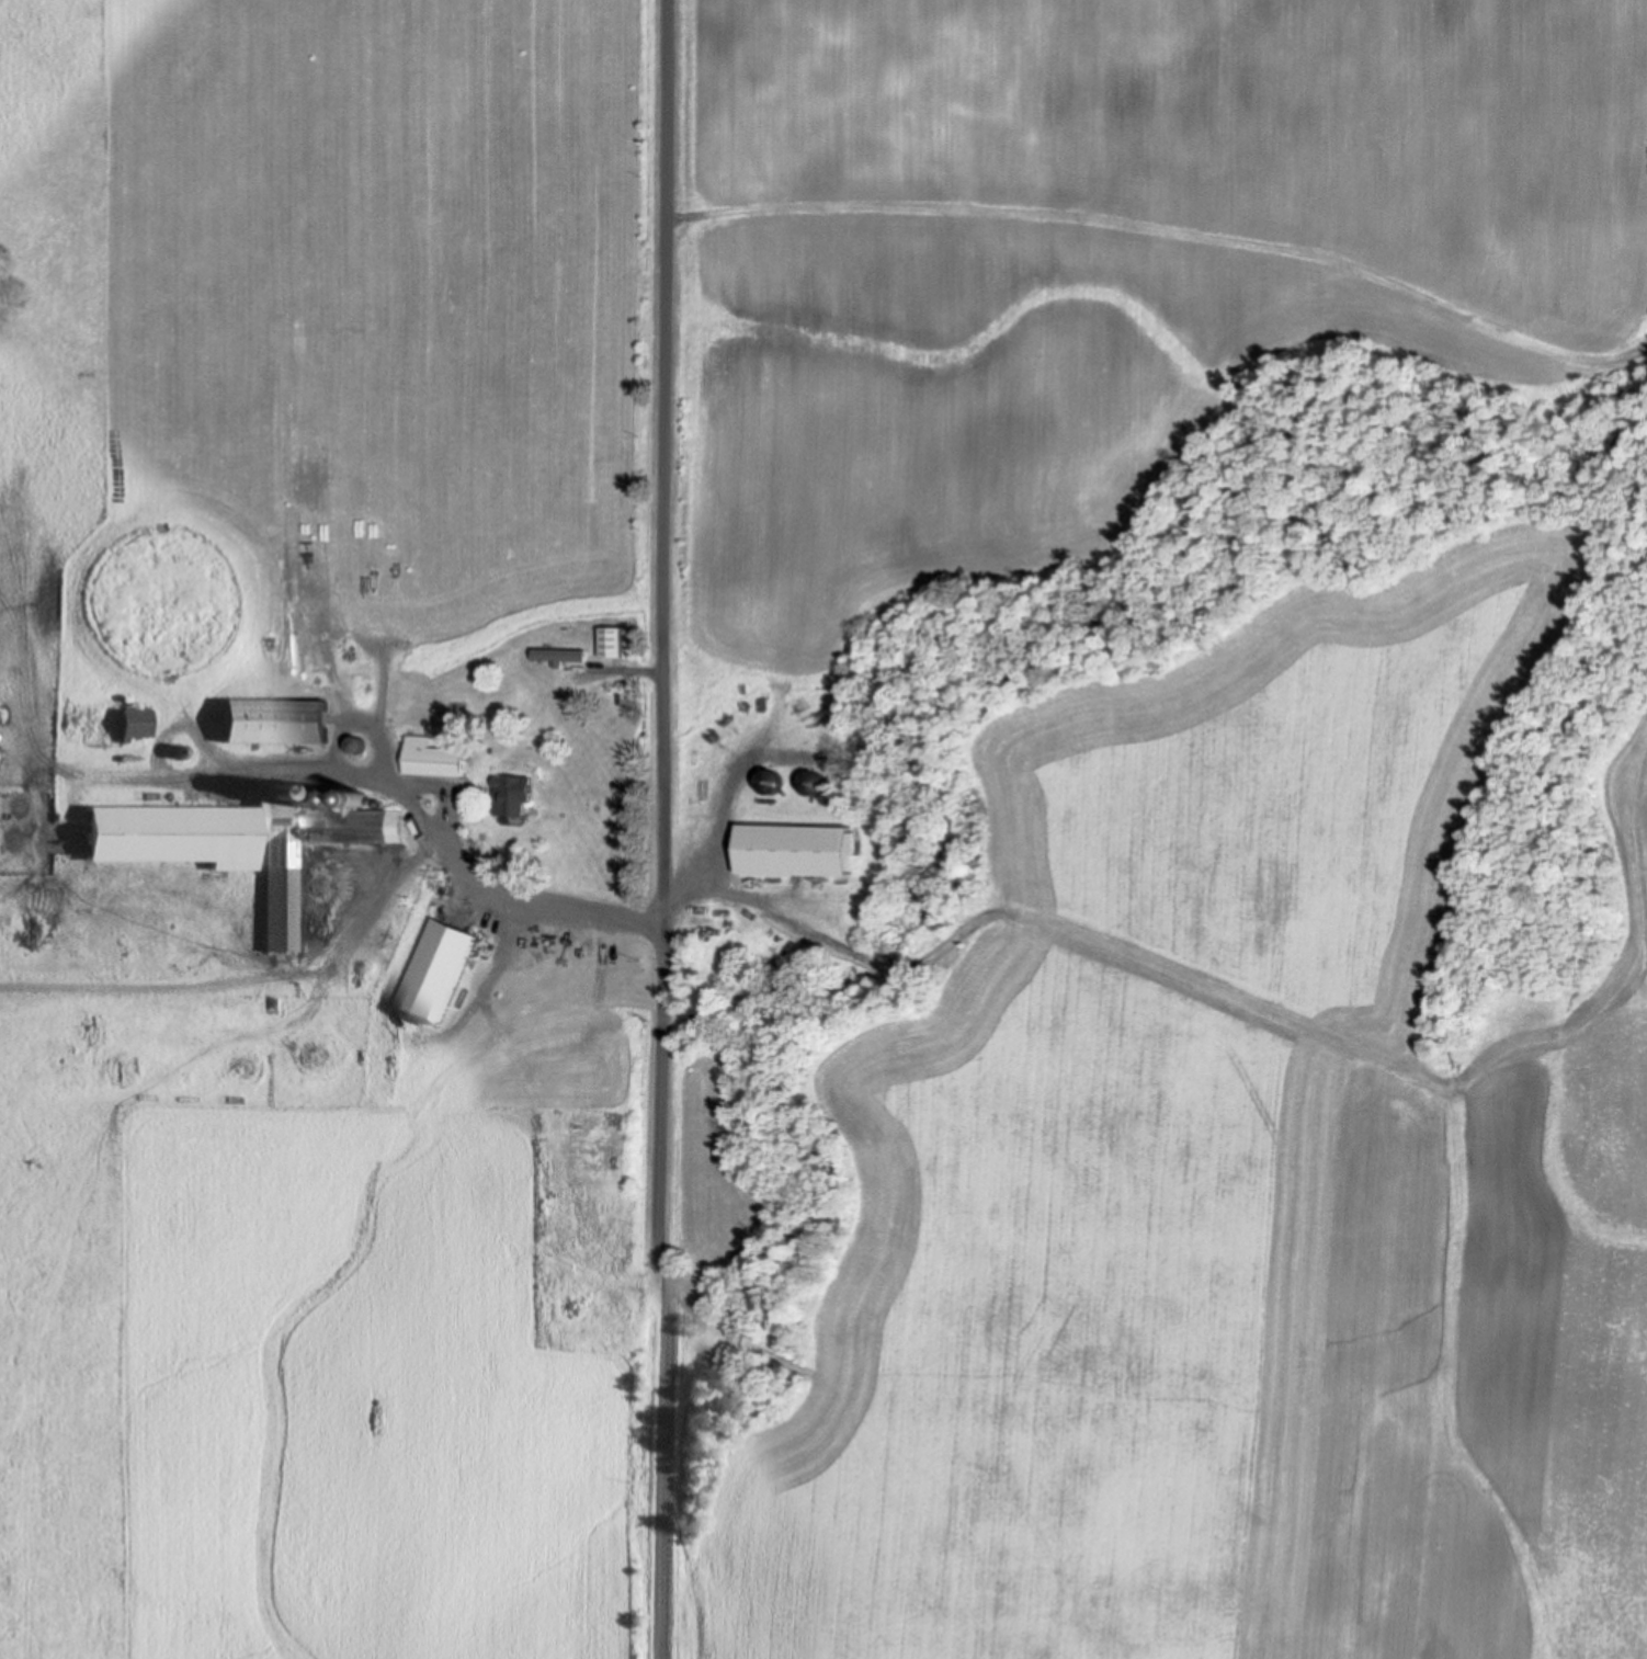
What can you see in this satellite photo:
crop: (1093, 260)
building: (617, 640)
building: (565, 654)
building: (365, 685)
building: (276, 719)
building: (138, 723)
building: (355, 743)
building: (183, 751)
building: (435, 757)
building: (776, 780)
building: (820, 781)
building: (519, 794)
building: (364, 795)
road: (662, 829)
building: (238, 838)
building: (802, 850)
road: (597, 911)
building: (439, 971)
building: (570, 1114)

